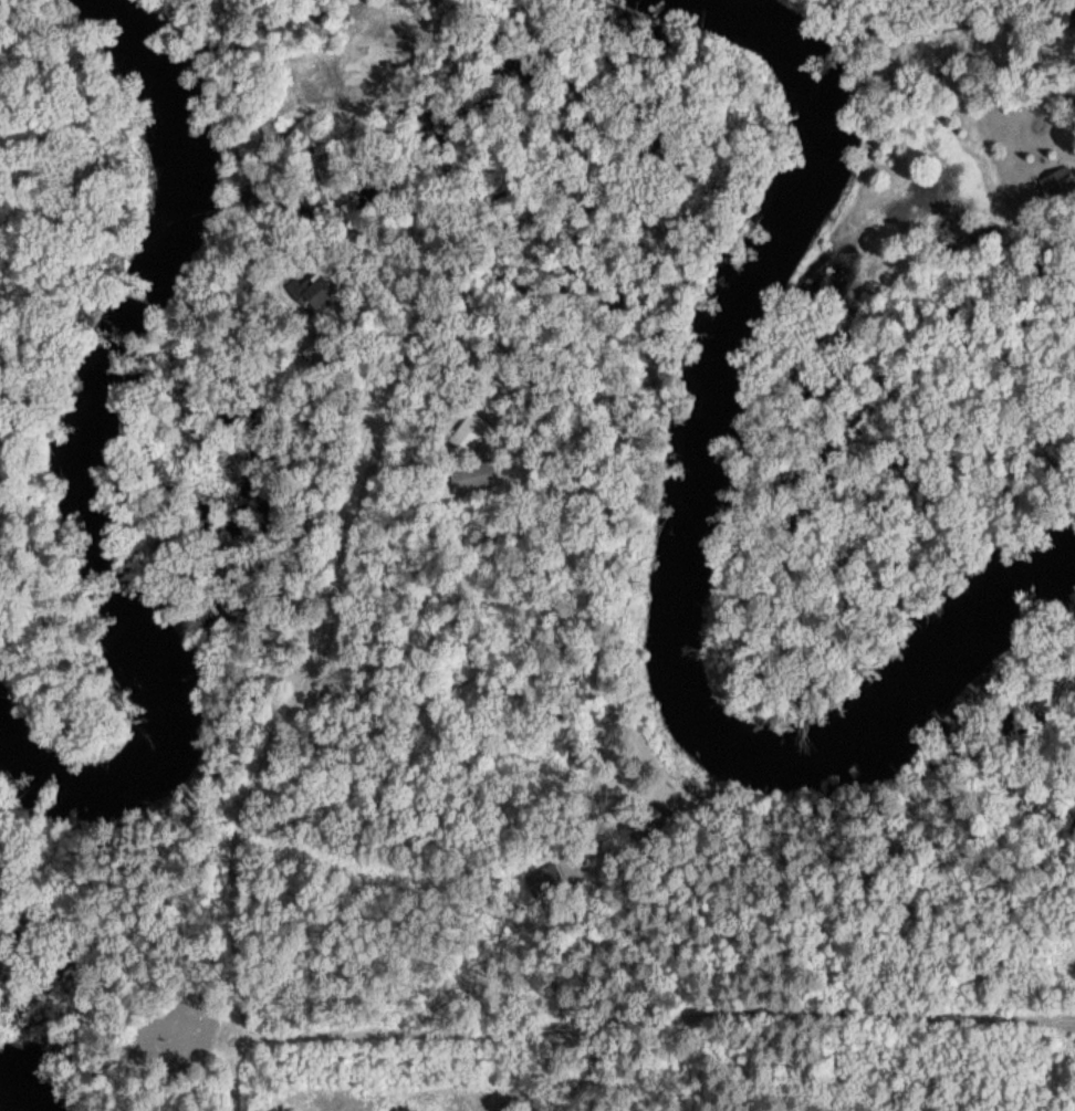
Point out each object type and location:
building: (1055, 180)
building: (311, 292)
building: (316, 348)
building: (469, 431)
river: (87, 453)
building: (472, 475)
river: (682, 549)
road: (319, 568)
road: (566, 620)
road: (262, 837)
building: (542, 879)
road: (807, 1000)
river: (14, 1086)

